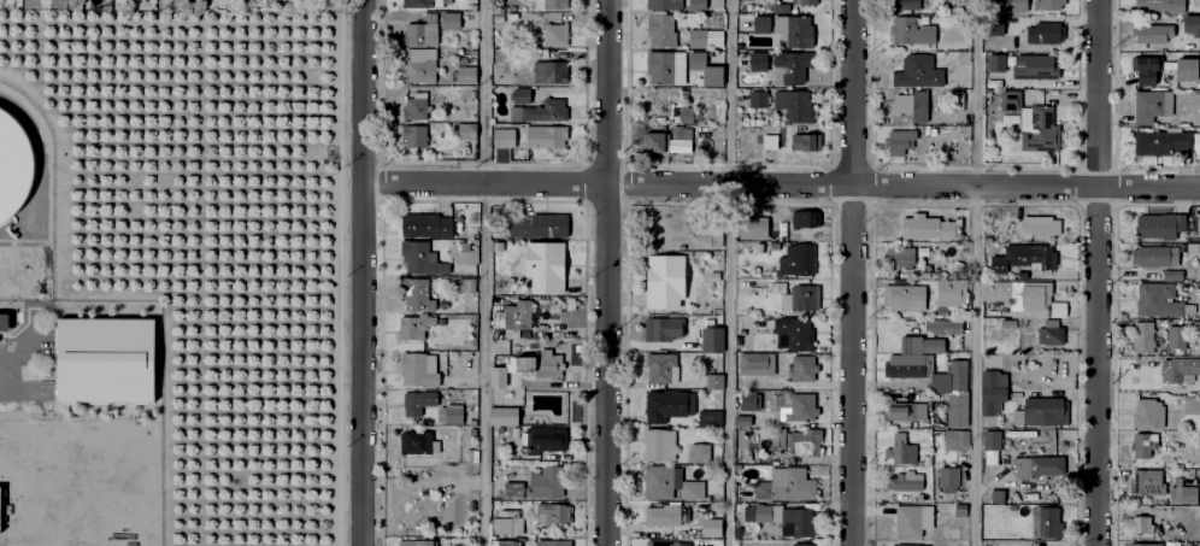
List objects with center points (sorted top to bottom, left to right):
building: (808, 0)
building: (417, 2)
building: (552, 2)
building: (664, 4)
building: (698, 4)
building: (902, 5)
building: (1049, 5)
building: (1017, 6)
building: (1160, 6)
building: (777, 8)
building: (770, 23)
building: (994, 24)
building: (1193, 24)
building: (429, 27)
building: (661, 29)
building: (800, 30)
building: (911, 31)
building: (1043, 31)
building: (1153, 31)
building: (555, 33)
building: (705, 36)
building: (758, 60)
building: (995, 61)
building: (1147, 61)
building: (419, 66)
building: (666, 66)
building: (1039, 66)
building: (705, 67)
building: (790, 67)
building: (552, 71)
building: (918, 71)
building: (466, 72)
building: (1186, 72)
building: (502, 76)
building: (519, 94)
building: (760, 96)
building: (955, 99)
building: (901, 102)
building: (798, 104)
building: (416, 106)
building: (919, 106)
building: (1153, 107)
building: (541, 111)
building: (687, 113)
building: (1033, 123)
building: (467, 130)
building: (966, 131)
building: (414, 134)
building: (804, 134)
building: (547, 135)
building: (504, 136)
building: (666, 140)
building: (899, 140)
building: (769, 142)
building: (804, 142)
building: (1166, 142)
building: (13, 169)
storage tank: (13, 169)
road: (783, 183)
building: (806, 218)
building: (924, 221)
building: (1039, 222)
building: (425, 223)
building: (540, 225)
building: (753, 225)
building: (1161, 225)
building: (783, 234)
building: (711, 235)
building: (770, 247)
building: (1022, 252)
building: (1151, 254)
building: (420, 256)
building: (901, 256)
building: (796, 258)
building: (545, 266)
road: (366, 272)
road: (483, 272)
road: (608, 272)
road: (727, 272)
road: (852, 272)
road: (973, 272)
road: (1099, 272)
building: (1173, 274)
building: (711, 276)
building: (507, 283)
building: (664, 283)
building: (469, 284)
building: (949, 289)
building: (902, 292)
building: (1030, 292)
building: (417, 293)
building: (796, 295)
building: (1159, 300)
building: (518, 317)
building: (1007, 319)
building: (941, 322)
building: (2, 323)
building: (413, 327)
building: (793, 327)
building: (1048, 328)
building: (1196, 328)
building: (657, 329)
building: (1143, 335)
building: (710, 337)
building: (1175, 337)
building: (918, 340)
building: (753, 359)
building: (104, 362)
building: (799, 364)
building: (523, 365)
building: (777, 365)
building: (663, 366)
building: (927, 366)
building: (1184, 366)
road: (2, 369)
building: (417, 369)
building: (993, 378)
building: (713, 380)
building: (747, 397)
building: (992, 398)
building: (418, 400)
building: (799, 404)
building: (1192, 404)
building: (666, 406)
building: (954, 406)
building: (895, 407)
building: (1043, 410)
building: (1148, 411)
building: (453, 413)
building: (504, 415)
building: (740, 416)
building: (710, 419)
building: (952, 435)
building: (547, 438)
building: (801, 438)
building: (414, 440)
building: (988, 441)
building: (659, 444)
building: (1145, 444)
building: (899, 445)
building: (699, 452)
building: (1035, 462)
building: (945, 476)
building: (902, 477)
building: (782, 480)
building: (545, 481)
building: (1148, 482)
building: (677, 485)
building: (513, 488)
building: (998, 494)
building: (1189, 494)
building: (552, 511)
building: (663, 513)
building: (787, 518)
building: (914, 521)
building: (1046, 522)
building: (508, 524)
building: (1140, 524)
building: (712, 526)
building: (951, 532)
building: (414, 542)
building: (505, 542)
building: (553, 542)
building: (667, 542)
building: (807, 544)
building: (701, 545)
building: (910, 545)
building: (1145, 545)

